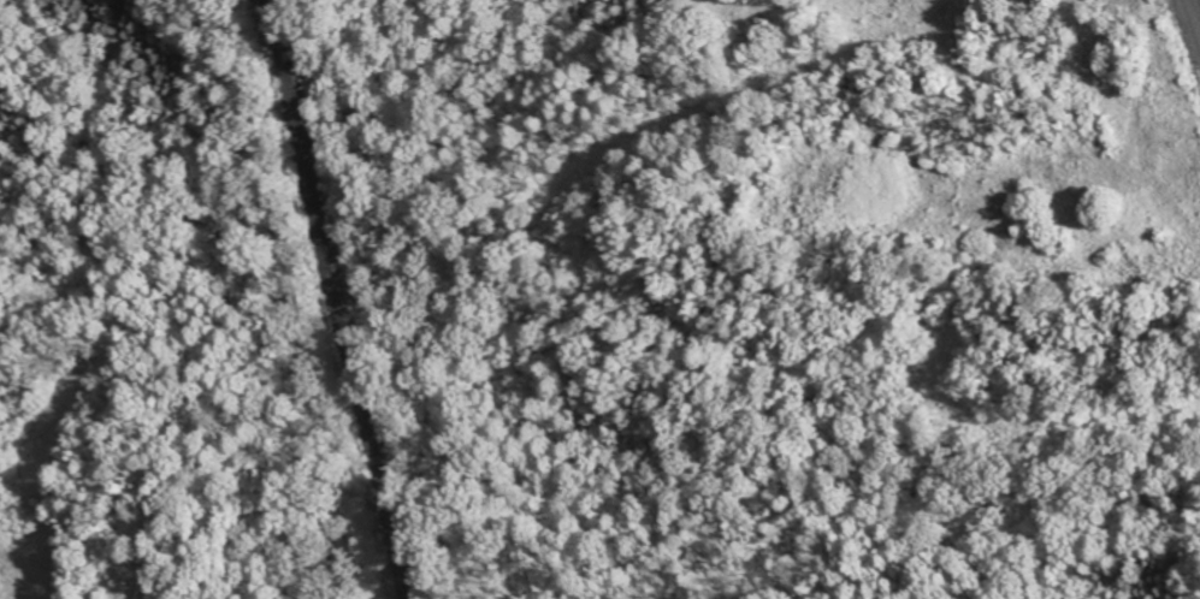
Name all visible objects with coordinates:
road: (1193, 18)
railway: (343, 298)

